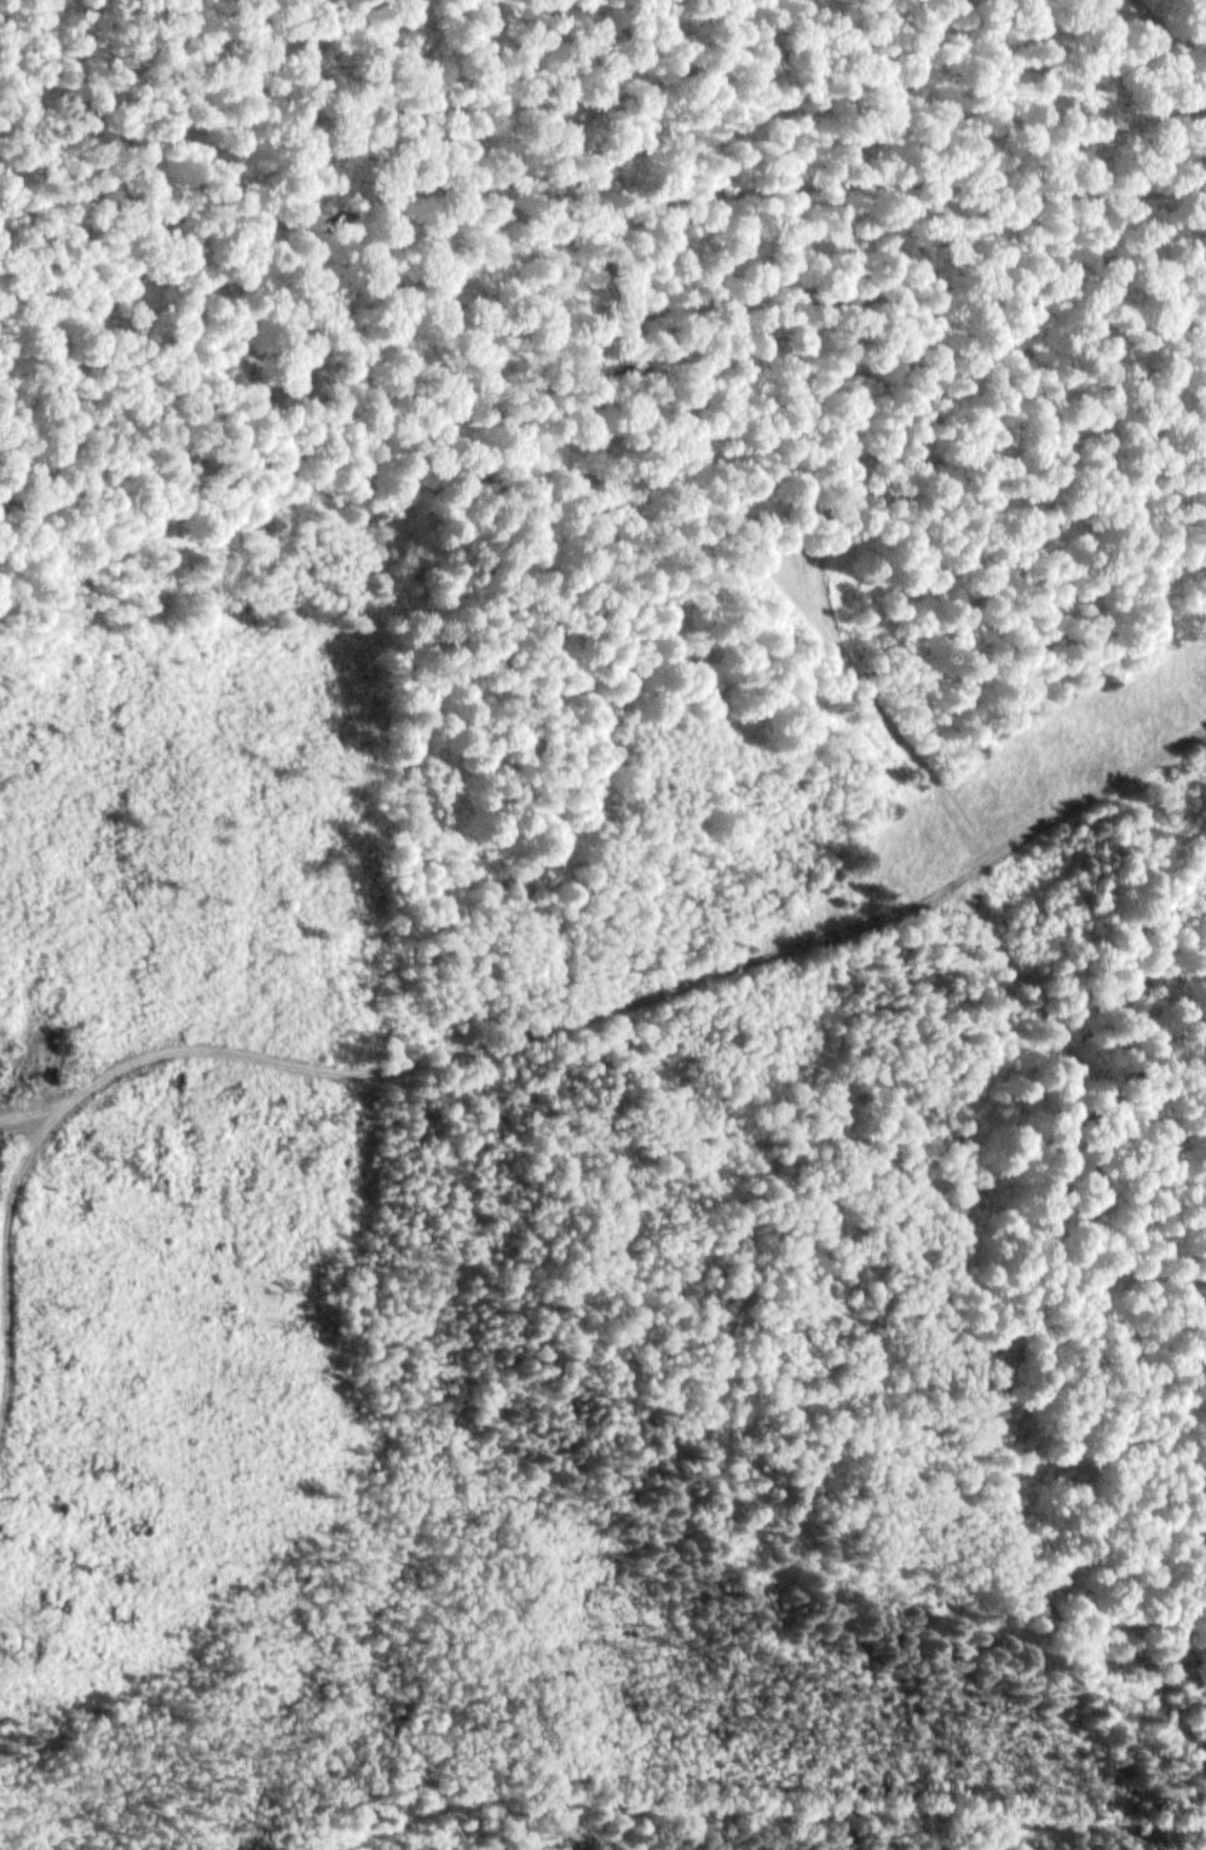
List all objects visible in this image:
road: (621, 986)

